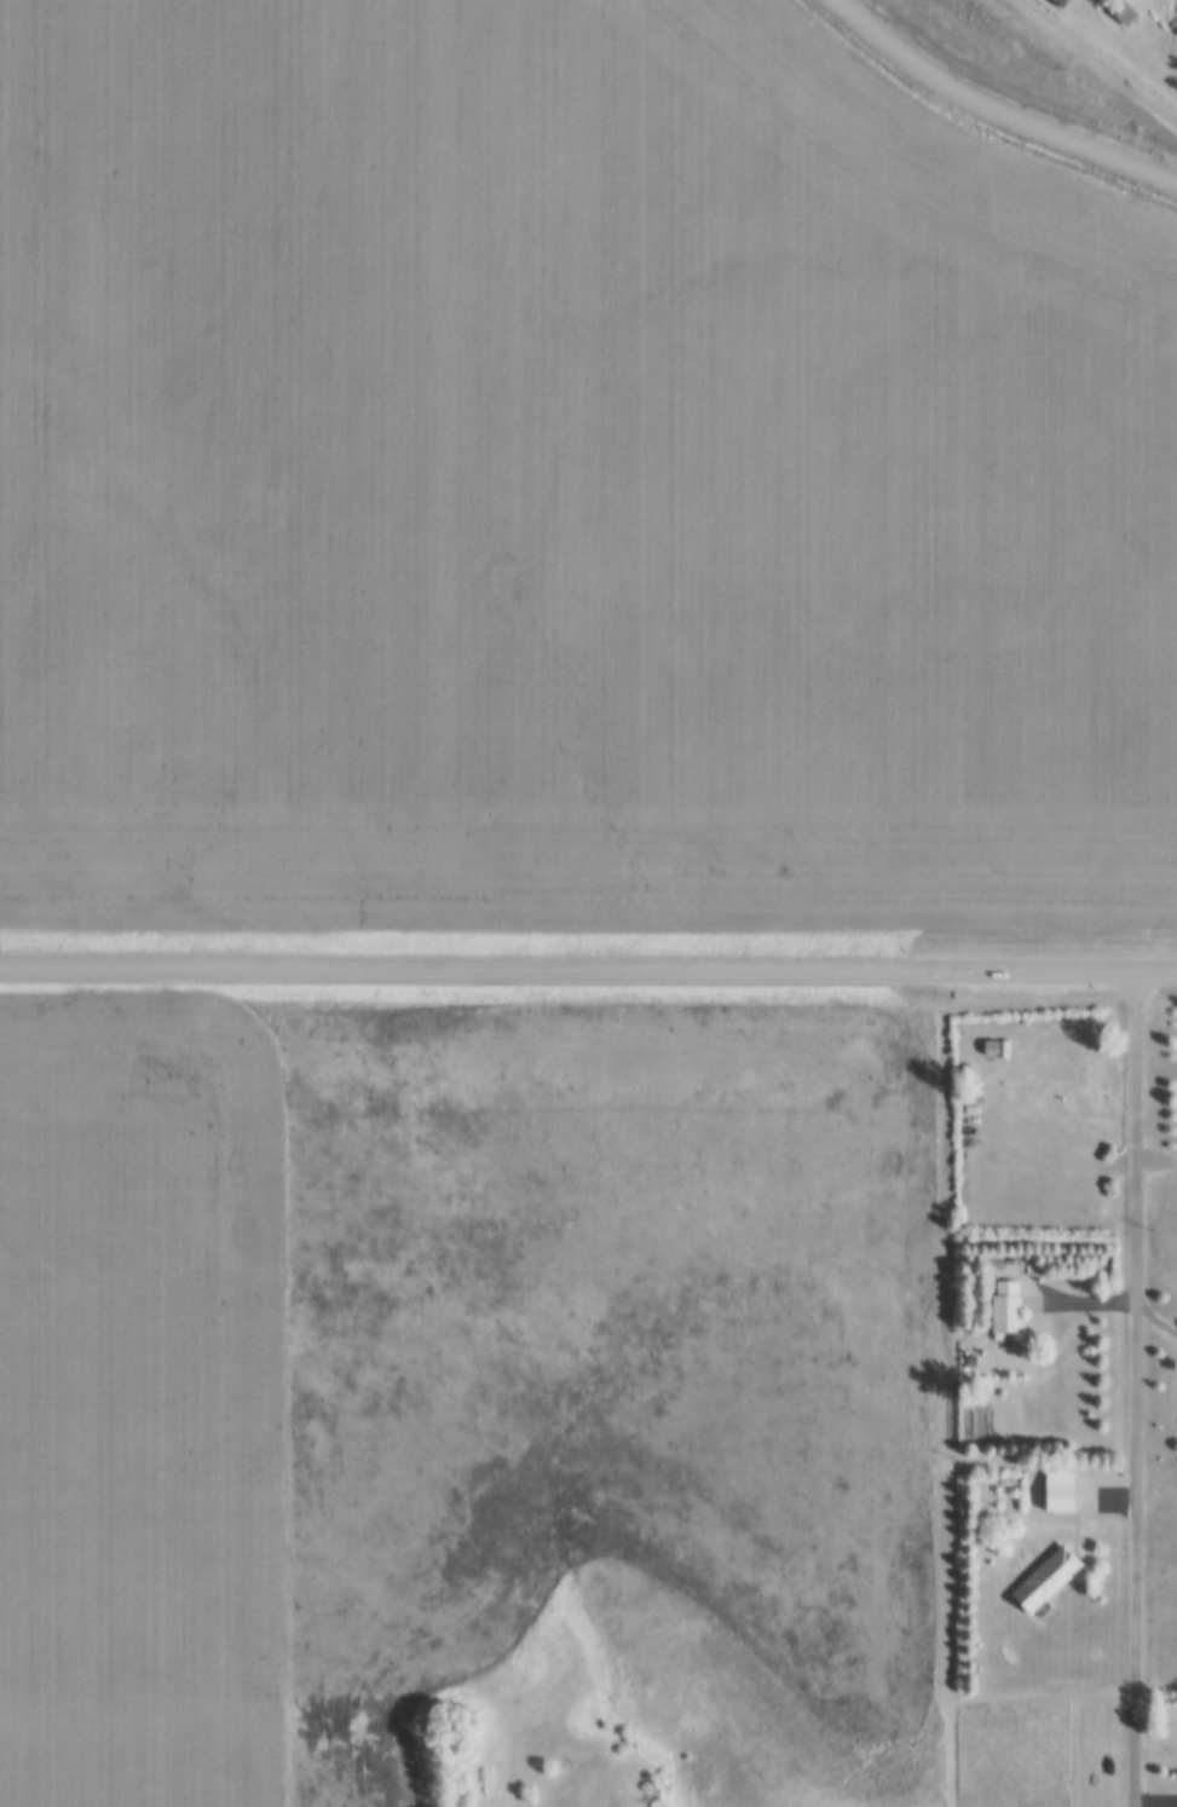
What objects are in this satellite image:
building: (1058, 2)
building: (1126, 12)
road: (1136, 42)
road: (588, 966)
building: (992, 1049)
building: (1008, 1307)
road: (1142, 1387)
building: (1061, 1491)
building: (1048, 1580)

